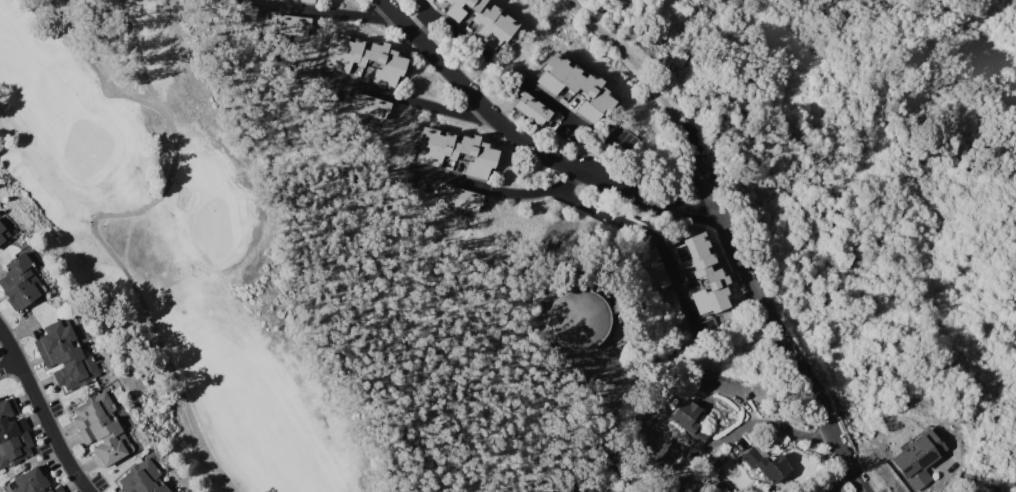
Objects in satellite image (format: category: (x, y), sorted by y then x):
road: (1014, 0)
building: (304, 1)
building: (461, 8)
road: (319, 10)
road: (420, 15)
building: (290, 24)
building: (491, 25)
road: (451, 29)
building: (467, 29)
building: (341, 52)
building: (380, 63)
building: (356, 75)
building: (558, 75)
road: (660, 96)
road: (405, 98)
building: (593, 99)
building: (369, 106)
building: (531, 108)
road: (526, 141)
building: (435, 145)
building: (476, 156)
road: (500, 190)
building: (461, 199)
building: (6, 229)
road: (652, 234)
building: (692, 255)
park: (261, 265)
building: (19, 267)
building: (652, 270)
building: (29, 289)
building: (710, 293)
building: (578, 319)
building: (54, 335)
building: (62, 354)
road: (787, 355)
road: (8, 364)
building: (76, 373)
building: (701, 397)
building: (55, 406)
building: (652, 406)
building: (8, 408)
building: (92, 410)
road: (41, 412)
building: (689, 421)
building: (12, 428)
building: (100, 429)
road: (784, 432)
building: (112, 449)
building: (14, 450)
building: (916, 460)
road: (597, 465)
building: (766, 465)
building: (967, 475)
building: (142, 478)
building: (29, 481)
road: (637, 482)
building: (56, 489)
building: (827, 490)
building: (171, 491)

